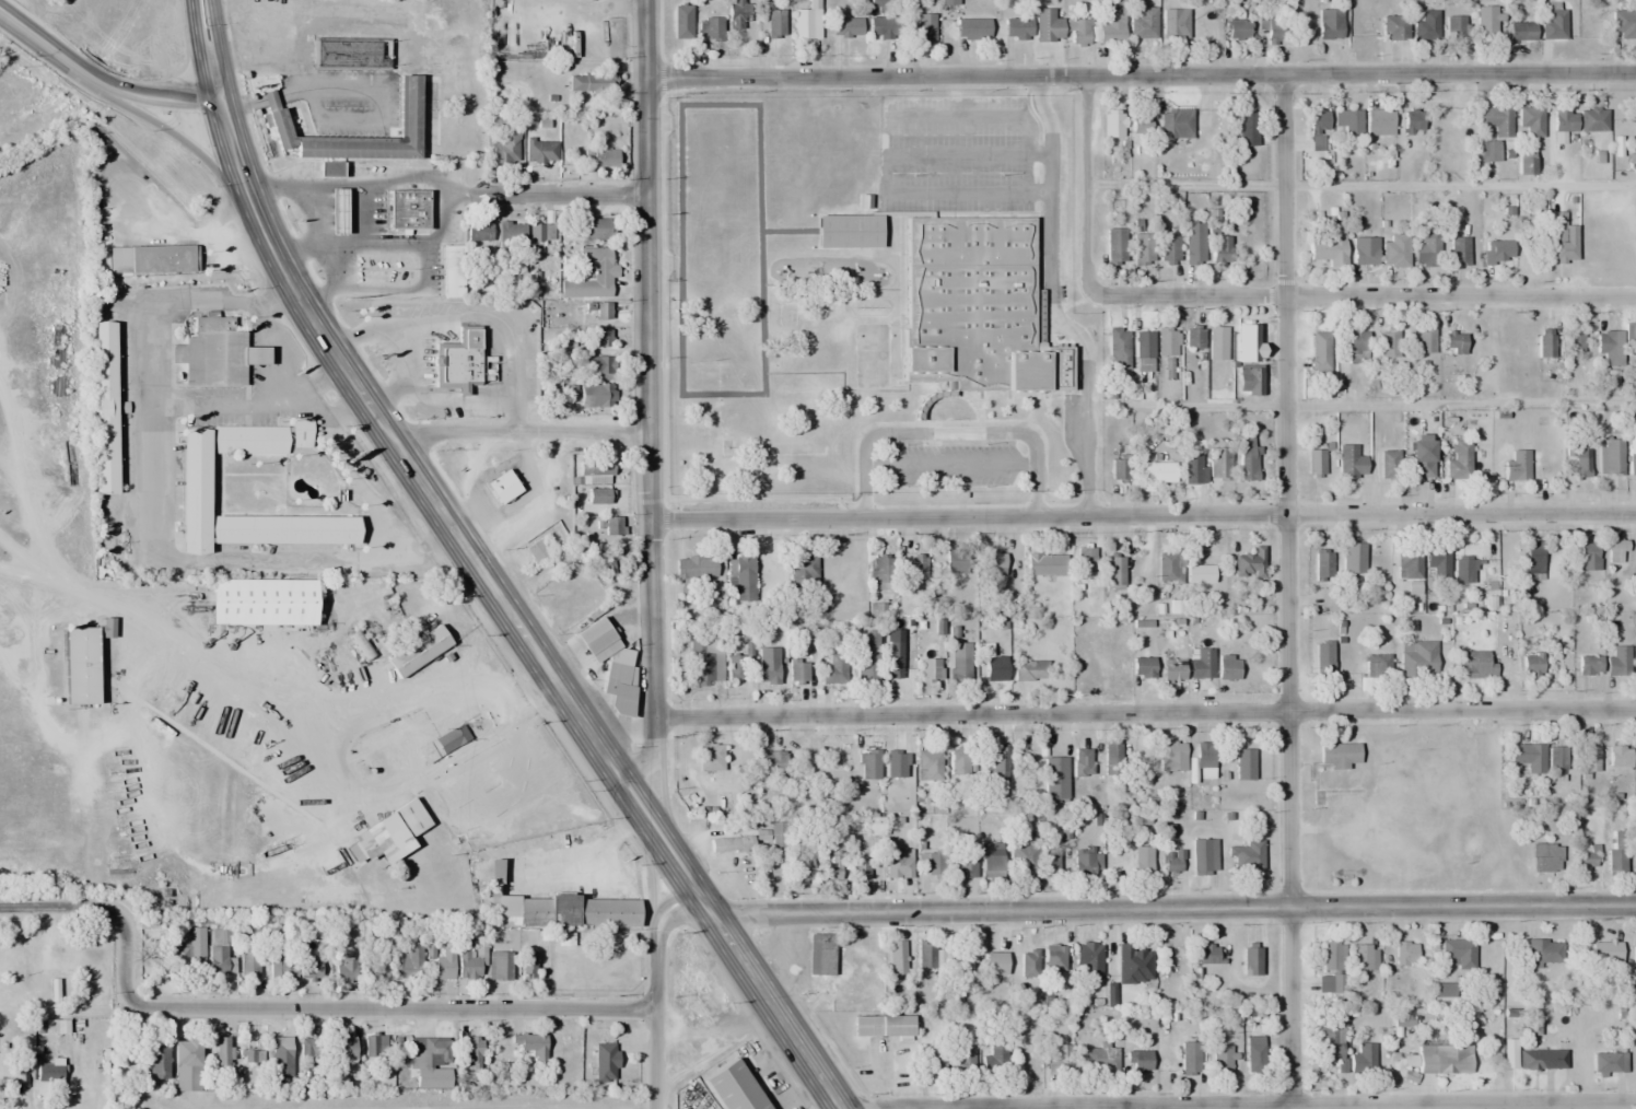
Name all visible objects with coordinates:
building: (738, 13)
building: (774, 22)
building: (806, 22)
building: (1485, 22)
building: (1554, 22)
building: (1623, 22)
building: (1144, 23)
building: (1329, 23)
building: (1173, 24)
building: (1426, 24)
building: (1048, 25)
building: (845, 26)
building: (924, 26)
building: (1453, 26)
building: (710, 27)
building: (881, 27)
building: (1394, 27)
building: (972, 28)
building: (1017, 28)
building: (1237, 28)
building: (1520, 31)
building: (1078, 32)
building: (1110, 33)
road: (40, 34)
building: (352, 52)
road: (1141, 75)
building: (591, 82)
road: (148, 92)
road: (220, 100)
building: (418, 116)
building: (1378, 117)
building: (1496, 118)
building: (273, 119)
building: (1530, 119)
building: (1593, 119)
building: (1347, 120)
building: (1412, 121)
building: (1564, 121)
building: (1114, 122)
building: (1140, 122)
building: (1176, 124)
road: (168, 126)
building: (1247, 128)
building: (1317, 129)
building: (505, 147)
building: (1488, 150)
building: (540, 151)
building: (604, 157)
building: (1524, 162)
road: (1086, 187)
road: (564, 195)
building: (336, 207)
building: (407, 208)
building: (594, 227)
building: (478, 231)
building: (540, 231)
building: (848, 231)
building: (511, 232)
building: (1561, 238)
building: (1193, 243)
building: (1115, 246)
building: (1143, 246)
building: (1329, 247)
building: (1168, 248)
building: (1219, 249)
building: (1395, 249)
building: (1497, 249)
building: (1364, 250)
building: (1460, 250)
building: (1426, 252)
building: (451, 270)
building: (589, 273)
road: (1360, 297)
road: (1049, 303)
building: (973, 305)
building: (603, 311)
building: (1631, 335)
building: (1193, 337)
building: (1574, 339)
building: (1424, 341)
building: (1167, 342)
building: (1216, 342)
building: (1247, 342)
building: (1389, 342)
building: (1453, 342)
building: (1545, 342)
building: (1357, 345)
building: (1118, 348)
building: (1610, 348)
building: (1143, 351)
building: (215, 352)
building: (1319, 354)
building: (457, 364)
building: (596, 366)
building: (1248, 381)
building: (598, 396)
road: (648, 397)
building: (301, 432)
road: (518, 434)
building: (1611, 456)
building: (1458, 459)
building: (1247, 462)
building: (1316, 462)
building: (1351, 462)
building: (1633, 463)
building: (1218, 464)
building: (1388, 464)
building: (1517, 466)
building: (1581, 467)
building: (1191, 468)
building: (1421, 468)
building: (601, 470)
building: (1156, 472)
building: (194, 483)
building: (501, 487)
building: (597, 494)
road: (1143, 516)
building: (612, 525)
building: (1616, 546)
building: (536, 550)
building: (1588, 556)
building: (1353, 557)
building: (991, 560)
building: (1085, 560)
building: (1533, 561)
building: (956, 562)
building: (1045, 563)
building: (1249, 564)
building: (1322, 564)
building: (1437, 564)
building: (918, 565)
building: (1409, 565)
building: (696, 567)
building: (1168, 567)
building: (881, 568)
building: (1464, 569)
building: (803, 571)
building: (1114, 573)
building: (1199, 574)
building: (744, 579)
road: (1286, 587)
building: (241, 600)
building: (416, 651)
road: (537, 656)
building: (1417, 657)
building: (1323, 659)
building: (867, 661)
building: (1617, 662)
building: (704, 663)
building: (1201, 664)
building: (79, 665)
building: (1474, 665)
building: (1531, 665)
building: (1588, 665)
building: (1142, 667)
building: (1227, 667)
building: (1378, 667)
building: (735, 668)
building: (994, 668)
building: (834, 669)
building: (959, 669)
building: (1029, 669)
building: (1172, 669)
building: (797, 670)
building: (931, 670)
building: (768, 672)
building: (617, 689)
road: (1144, 713)
building: (449, 737)
building: (710, 757)
building: (1529, 757)
building: (1619, 757)
building: (1019, 758)
building: (1172, 758)
building: (1557, 758)
building: (1589, 758)
building: (1111, 759)
building: (1204, 760)
building: (958, 762)
building: (1083, 762)
building: (896, 763)
building: (772, 764)
building: (866, 764)
building: (928, 764)
building: (1243, 764)
building: (1339, 767)
building: (998, 769)
building: (1054, 779)
building: (869, 826)
building: (394, 829)
building: (778, 836)
building: (1615, 854)
building: (1248, 855)
building: (1203, 856)
building: (1545, 857)
building: (1586, 857)
building: (1051, 860)
building: (991, 861)
building: (1024, 861)
building: (1172, 861)
building: (1133, 862)
building: (832, 863)
building: (898, 864)
building: (962, 864)
building: (935, 865)
building: (1084, 865)
building: (860, 868)
building: (802, 872)
road: (48, 908)
building: (565, 910)
road: (1173, 910)
building: (191, 949)
building: (1543, 950)
building: (220, 952)
building: (1459, 952)
building: (1634, 953)
building: (820, 954)
building: (1207, 954)
building: (1405, 954)
building: (1605, 955)
building: (926, 956)
building: (1332, 956)
road: (122, 957)
building: (897, 957)
building: (1365, 957)
building: (1170, 959)
building: (407, 960)
building: (469, 961)
building: (1251, 961)
building: (443, 962)
building: (1054, 962)
building: (1029, 964)
building: (1089, 964)
building: (248, 965)
building: (1133, 965)
building: (500, 966)
building: (525, 966)
building: (295, 968)
building: (347, 970)
road: (656, 990)
road: (404, 1008)
building: (865, 1026)
building: (1531, 1028)
building: (1328, 1042)
building: (530, 1044)
building: (932, 1047)
building: (221, 1050)
building: (340, 1050)
building: (470, 1054)
building: (1254, 1054)
building: (962, 1055)
building: (252, 1057)
building: (281, 1057)
building: (307, 1057)
building: (1097, 1058)
building: (1190, 1058)
building: (1362, 1059)
building: (1444, 1059)
building: (157, 1060)
building: (374, 1060)
building: (1057, 1060)
building: (1222, 1060)
building: (1531, 1060)
building: (432, 1061)
building: (995, 1061)
building: (1137, 1061)
building: (1604, 1062)
building: (605, 1063)
building: (186, 1065)
building: (48, 1076)
building: (732, 1087)
road: (1236, 1102)

